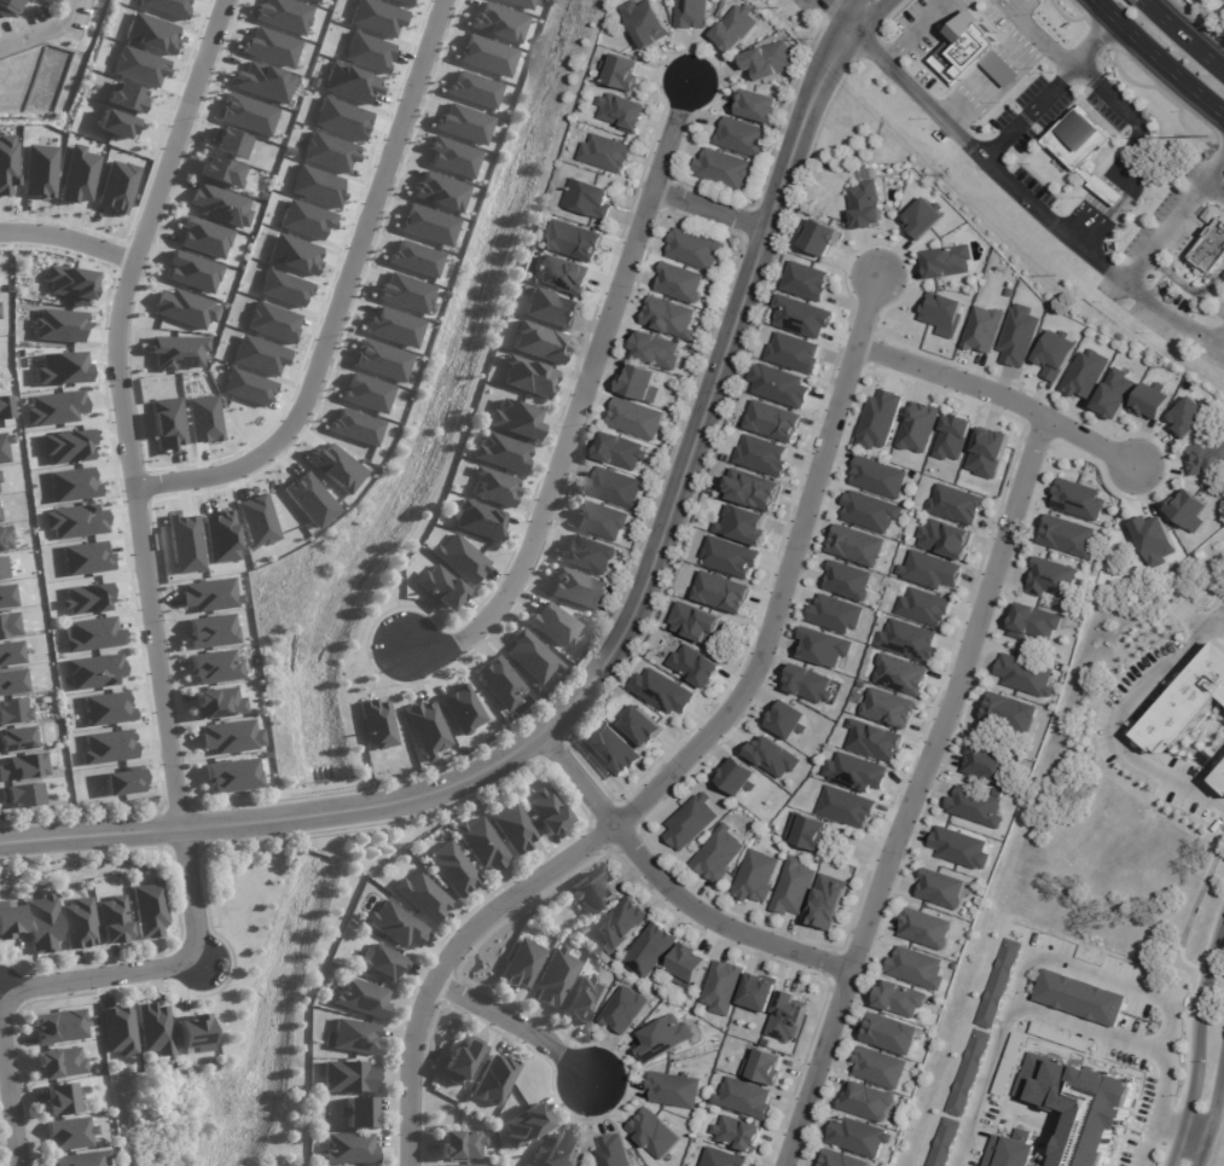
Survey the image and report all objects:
building: (23, 0)
building: (318, 0)
building: (51, 2)
building: (167, 6)
building: (7, 7)
road: (833, 11)
road: (848, 11)
building: (686, 13)
building: (283, 14)
road: (869, 14)
building: (642, 22)
building: (731, 27)
road: (41, 29)
road: (913, 30)
road: (1039, 30)
road: (1185, 35)
building: (271, 47)
building: (970, 54)
building: (765, 60)
road: (1159, 60)
building: (621, 72)
building: (267, 82)
road: (1048, 87)
road: (912, 91)
building: (126, 98)
building: (754, 105)
building: (622, 112)
building: (116, 124)
power tower: (1208, 135)
building: (736, 137)
building: (228, 143)
building: (1080, 149)
road: (1130, 151)
building: (604, 153)
building: (7, 163)
building: (718, 168)
building: (39, 170)
building: (220, 172)
building: (76, 175)
building: (116, 186)
road: (1216, 186)
building: (588, 199)
building: (219, 205)
building: (864, 205)
road: (710, 211)
building: (1212, 215)
building: (921, 219)
road: (1055, 221)
building: (203, 237)
building: (819, 238)
building: (573, 240)
road: (69, 242)
building: (694, 249)
building: (1213, 249)
building: (946, 261)
road: (1138, 268)
building: (192, 271)
building: (563, 275)
building: (805, 282)
building: (679, 283)
building: (69, 284)
road: (1187, 289)
road: (341, 297)
building: (184, 308)
building: (550, 308)
building: (941, 314)
building: (801, 317)
building: (668, 318)
building: (58, 325)
building: (982, 330)
building: (1017, 336)
road: (1219, 340)
building: (538, 342)
building: (655, 350)
building: (176, 352)
building: (793, 353)
building: (1054, 354)
building: (59, 369)
building: (1085, 373)
building: (528, 377)
building: (639, 384)
building: (778, 385)
building: (1114, 393)
road: (1000, 396)
road: (582, 398)
building: (1150, 401)
building: (54, 408)
building: (512, 418)
building: (1187, 418)
building: (634, 419)
building: (878, 419)
building: (772, 420)
building: (917, 427)
building: (951, 437)
building: (66, 446)
building: (619, 451)
building: (501, 452)
building: (987, 453)
building: (762, 456)
building: (1206, 458)
building: (877, 477)
building: (72, 485)
building: (493, 487)
building: (614, 488)
building: (752, 491)
building: (1077, 500)
building: (956, 504)
building: (1187, 510)
building: (869, 511)
building: (478, 520)
building: (75, 521)
building: (256, 521)
building: (601, 521)
building: (742, 526)
building: (1066, 535)
building: (4, 538)
building: (945, 539)
building: (1153, 539)
building: (854, 545)
building: (587, 555)
building: (730, 557)
building: (86, 558)
building: (459, 559)
building: (2, 568)
building: (929, 570)
road: (784, 573)
road: (146, 575)
building: (1048, 578)
building: (847, 582)
building: (439, 586)
building: (576, 587)
building: (720, 592)
building: (209, 594)
building: (5, 596)
building: (86, 598)
building: (923, 607)
building: (834, 614)
building: (694, 622)
building: (1033, 622)
building: (6, 623)
building: (552, 625)
building: (210, 631)
building: (92, 634)
building: (907, 639)
building: (824, 648)
road: (610, 649)
building: (10, 651)
building: (532, 656)
building: (695, 666)
building: (214, 667)
building: (94, 671)
building: (900, 674)
building: (1025, 675)
building: (10, 681)
building: (495, 681)
building: (808, 684)
building: (662, 691)
building: (1191, 697)
building: (217, 703)
building: (106, 708)
building: (887, 708)
building: (12, 709)
building: (462, 709)
building: (1009, 713)
road: (1115, 718)
building: (787, 720)
building: (377, 724)
building: (637, 724)
building: (427, 729)
building: (230, 737)
building: (14, 738)
building: (872, 741)
building: (109, 747)
building: (608, 748)
building: (773, 758)
building: (991, 765)
building: (23, 766)
building: (855, 773)
building: (232, 776)
building: (736, 777)
building: (122, 782)
building: (1222, 784)
road: (916, 793)
building: (19, 795)
building: (845, 807)
building: (974, 807)
building: (547, 810)
building: (690, 823)
building: (514, 828)
building: (807, 833)
building: (482, 843)
building: (959, 848)
building: (717, 854)
building: (452, 870)
building: (754, 877)
building: (793, 887)
building: (940, 888)
road: (671, 889)
building: (594, 892)
building: (422, 897)
building: (825, 901)
building: (150, 907)
building: (10, 918)
building: (112, 920)
building: (43, 923)
building: (79, 923)
building: (391, 923)
building: (621, 923)
building: (924, 929)
building: (645, 949)
road: (448, 959)
building: (384, 963)
building: (524, 963)
building: (688, 965)
road: (1071, 967)
building: (915, 968)
building: (557, 976)
building: (998, 984)
building: (721, 987)
building: (758, 993)
road: (1143, 993)
building: (362, 998)
building: (1078, 998)
building: (582, 999)
building: (898, 999)
building: (622, 1010)
building: (782, 1015)
building: (58, 1026)
road: (518, 1027)
building: (153, 1029)
building: (118, 1032)
building: (193, 1033)
building: (889, 1034)
building: (358, 1037)
building: (660, 1037)
building: (1061, 1037)
road: (1197, 1042)
building: (460, 1060)
building: (1009, 1061)
building: (58, 1062)
building: (878, 1067)
building: (764, 1068)
building: (968, 1073)
building: (350, 1077)
building: (493, 1080)
building: (672, 1089)
road: (10, 1091)
building: (60, 1098)
building: (743, 1098)
building: (866, 1102)
building: (1077, 1107)
building: (361, 1112)
road: (1211, 1118)
building: (523, 1125)
road: (1181, 1129)
building: (652, 1133)
building: (737, 1133)
building: (71, 1135)
building: (858, 1137)
building: (944, 1142)
building: (463, 1144)
building: (350, 1149)
building: (1010, 1150)
building: (613, 1152)
building: (558, 1153)
building: (82, 1159)
building: (721, 1159)
building: (839, 1159)
building: (457, 1165)

